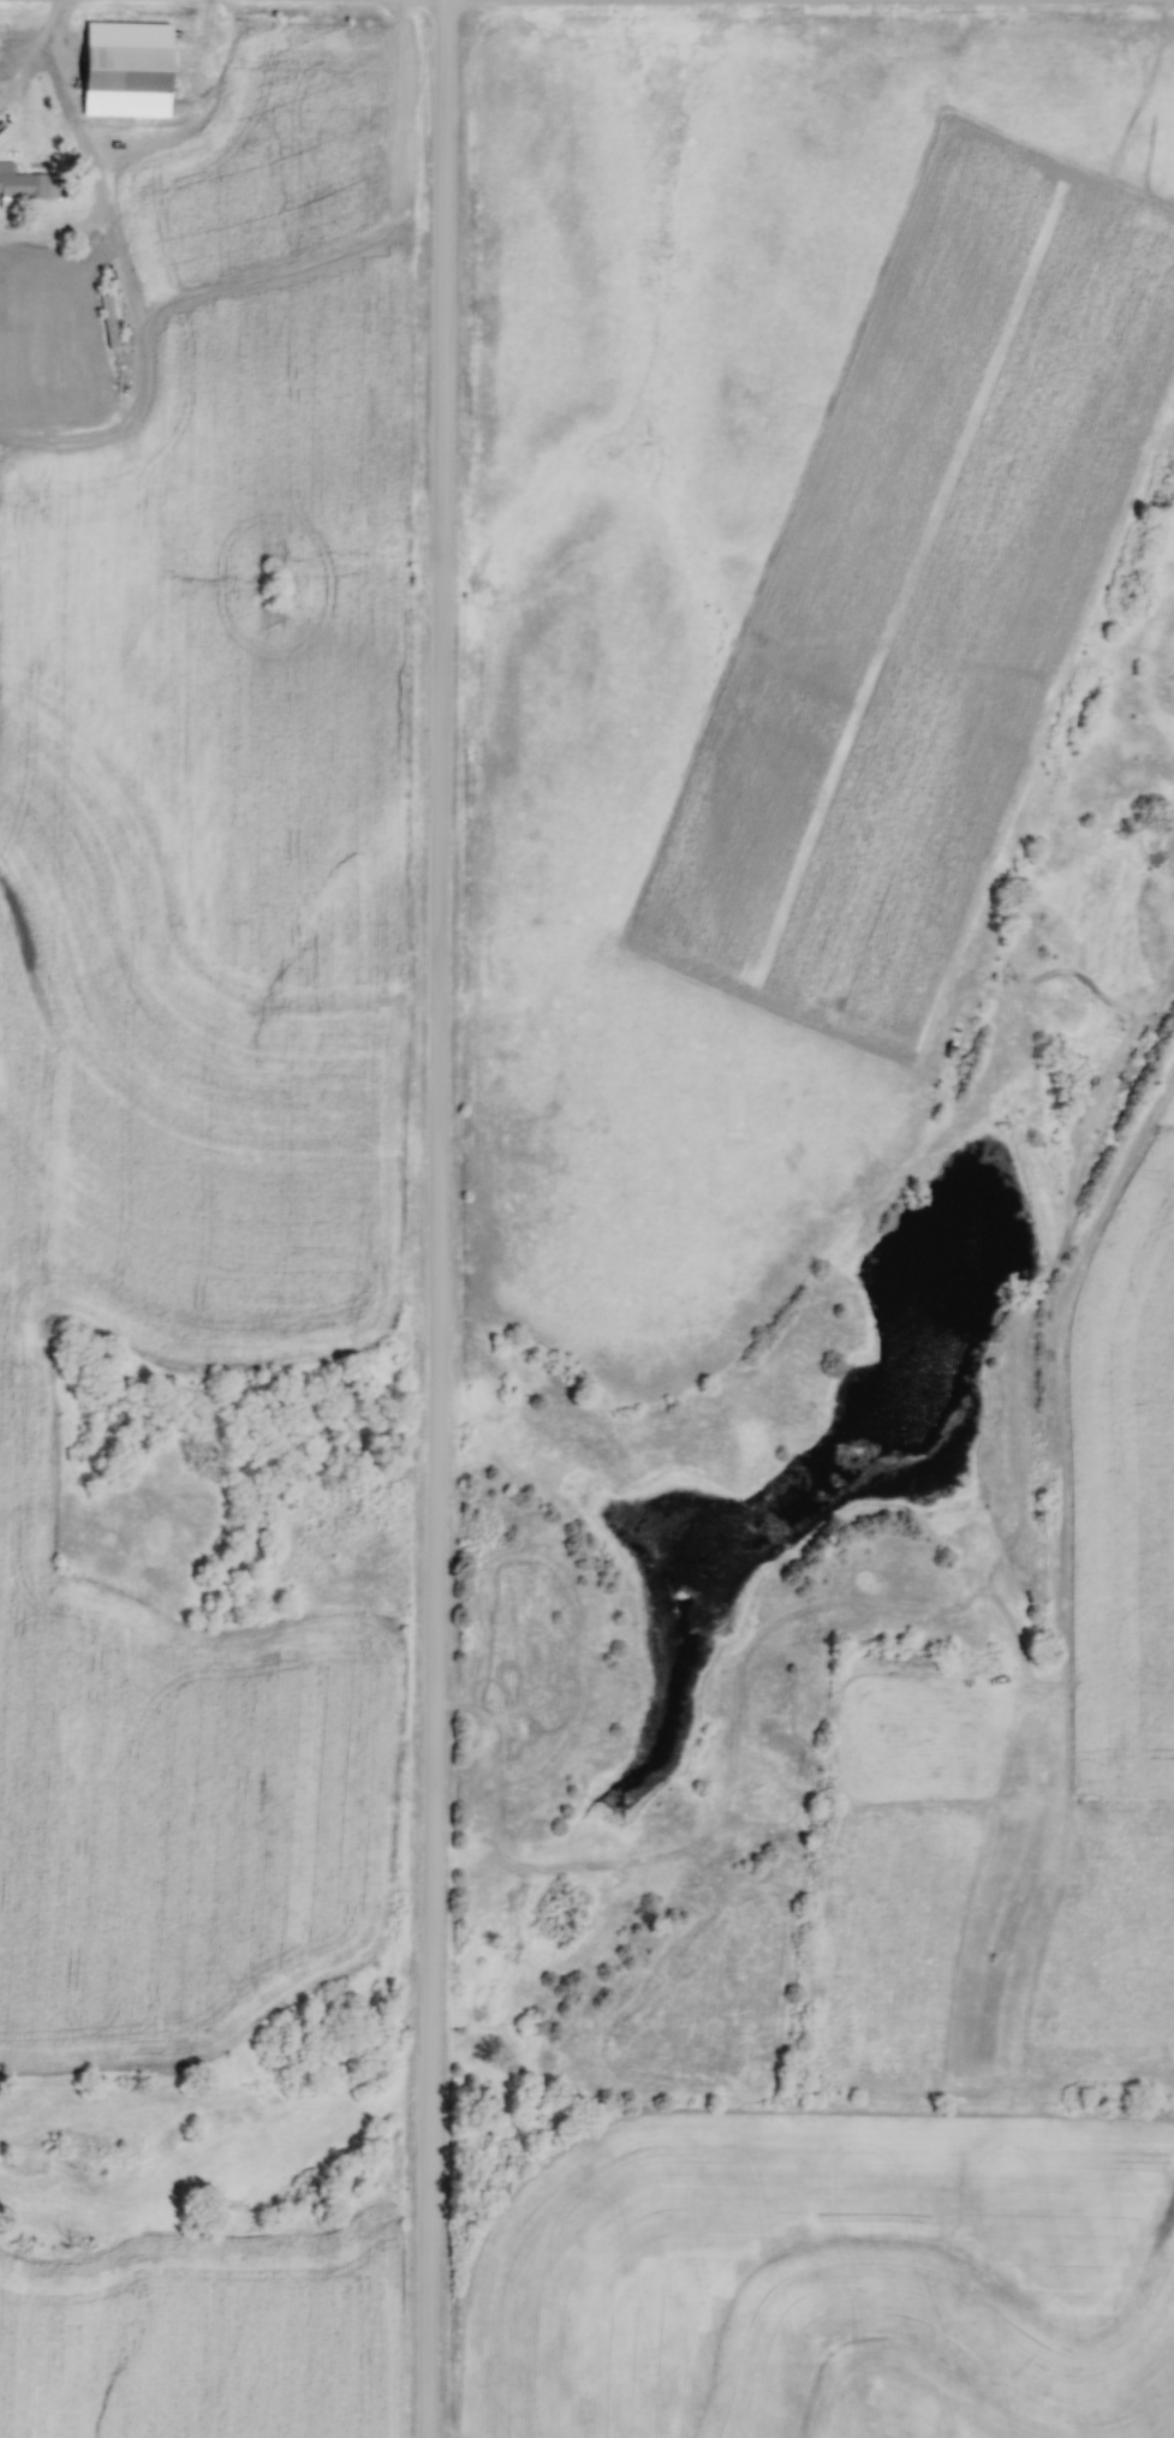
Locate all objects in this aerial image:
road: (24, 64)
building: (133, 67)
road: (83, 151)
building: (26, 184)
building: (109, 310)
road: (434, 1218)

